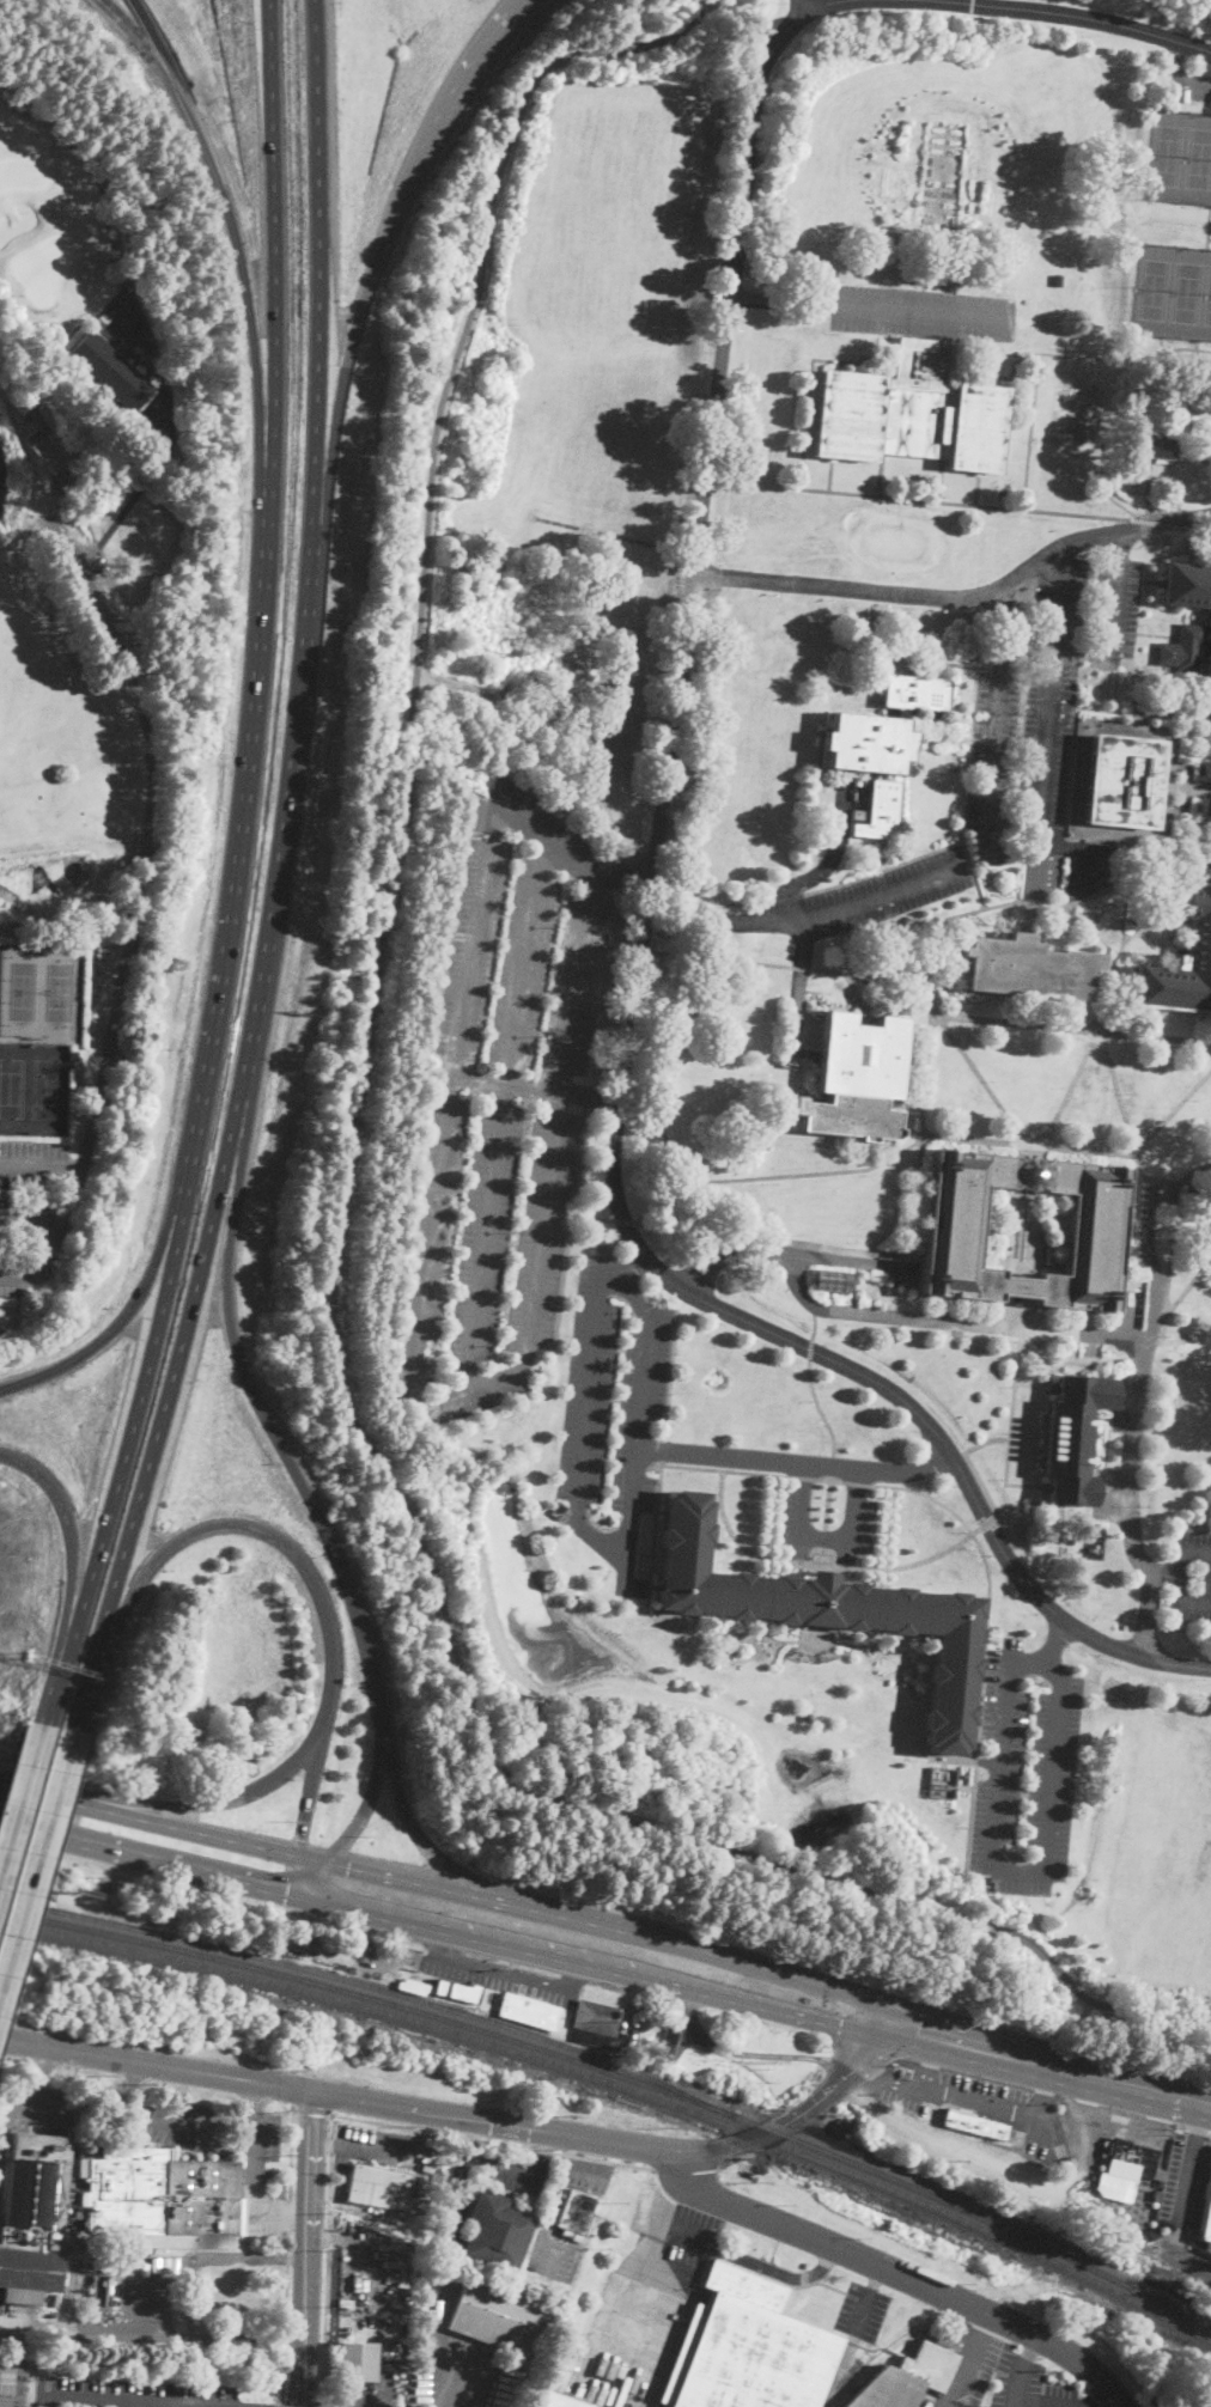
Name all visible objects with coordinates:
road: (808, 8)
road: (1075, 16)
building: (631, 22)
road: (1175, 75)
parking lot: (1191, 85)
park: (1164, 154)
park: (1197, 160)
park: (617, 213)
building: (948, 232)
building: (1058, 279)
road: (369, 282)
road: (247, 288)
park: (1150, 288)
park: (1187, 292)
park: (1206, 304)
road: (870, 307)
parking lot: (920, 311)
building: (111, 370)
building: (31, 404)
building: (1075, 410)
building: (909, 412)
building: (53, 444)
building: (1150, 445)
road: (159, 446)
building: (1206, 458)
road: (964, 502)
road: (1155, 522)
road: (700, 526)
road: (1197, 532)
building: (1188, 586)
road: (1116, 595)
parking lot: (1114, 611)
building: (1182, 647)
building: (1207, 678)
road: (649, 693)
road: (1047, 720)
parking lot: (1033, 743)
building: (881, 745)
road: (542, 757)
building: (1124, 781)
road: (990, 792)
parking lot: (838, 839)
road: (154, 843)
road: (824, 863)
road: (237, 871)
road: (485, 872)
road: (279, 876)
parking lot: (887, 892)
road: (808, 915)
building: (1199, 942)
road: (638, 949)
road: (900, 958)
road: (798, 965)
building: (1029, 968)
road: (797, 993)
road: (1016, 1022)
road: (930, 1034)
road: (1161, 1037)
road: (1097, 1038)
park: (364, 1054)
building: (73, 1055)
building: (860, 1056)
road: (1110, 1068)
road: (534, 1086)
parking lot: (505, 1110)
road: (498, 1113)
building: (847, 1116)
road: (1144, 1147)
road: (44, 1168)
building: (1029, 1172)
road: (777, 1175)
road: (343, 1215)
road: (592, 1217)
road: (36, 1219)
road: (625, 1221)
building: (951, 1230)
road: (1172, 1247)
road: (834, 1257)
road: (628, 1265)
road: (656, 1267)
building: (833, 1279)
road: (531, 1315)
road: (893, 1315)
road: (121, 1323)
road: (815, 1326)
road: (809, 1348)
road: (1037, 1353)
road: (1018, 1355)
road: (588, 1373)
parking lot: (615, 1407)
road: (819, 1408)
road: (1134, 1426)
building: (1071, 1437)
road: (795, 1462)
road: (970, 1462)
road: (819, 1479)
parking lot: (1108, 1492)
road: (1002, 1493)
road: (316, 1510)
parking lot: (795, 1523)
road: (827, 1538)
road: (1182, 1550)
road: (621, 1566)
road: (71, 1572)
road: (1164, 1574)
parking lot: (1189, 1578)
road: (317, 1589)
road: (1181, 1599)
building: (823, 1611)
building: (808, 1717)
parking lot: (1026, 1765)
building: (941, 1781)
road: (371, 1798)
road: (221, 1799)
road: (23, 1804)
road: (162, 1826)
traffic signals: (302, 1840)
road: (145, 1860)
road: (38, 1865)
traffic signals: (348, 1870)
road: (1028, 1871)
road: (306, 1878)
traffic signals: (287, 1893)
road: (610, 1928)
road: (586, 1963)
railway: (372, 1985)
building: (445, 1988)
building: (529, 2010)
building: (598, 2025)
traffic signals: (840, 2029)
traffic signals: (919, 2035)
building: (668, 2043)
traffic signals: (871, 2053)
road: (156, 2062)
road: (930, 2065)
road: (1047, 2065)
railway: (620, 2072)
railway: (621, 2084)
road: (31, 2094)
road: (974, 2096)
parking lot: (982, 2107)
road: (312, 2109)
road: (152, 2113)
building: (975, 2125)
parking lot: (1139, 2126)
road: (1192, 2128)
parking lot: (1083, 2133)
road: (474, 2137)
road: (493, 2140)
road: (620, 2143)
road: (542, 2152)
road: (390, 2153)
road: (1002, 2155)
road: (734, 2158)
road: (1191, 2163)
road: (464, 2164)
road: (588, 2167)
building: (1125, 2168)
road: (252, 2169)
road: (687, 2169)
parking lot: (1186, 2177)
building: (383, 2188)
road: (670, 2193)
road: (553, 2200)
building: (107, 2208)
building: (573, 2212)
building: (75, 2217)
building: (1206, 2224)
building: (497, 2231)
building: (1151, 2232)
building: (576, 2237)
road: (309, 2249)
road: (287, 2251)
road: (207, 2255)
road: (325, 2256)
road: (751, 2261)
building: (170, 2263)
road: (903, 2274)
road: (635, 2287)
road: (868, 2298)
parking lot: (862, 2310)
building: (499, 2315)
road: (96, 2335)
road: (249, 2335)
building: (747, 2348)
building: (389, 2350)
building: (403, 2350)
road: (968, 2360)
building: (357, 2362)
road: (1018, 2369)
park: (138, 2376)
building: (907, 2378)
park: (12, 2381)
building: (554, 2399)
road: (110, 2401)
road: (1066, 2402)
road: (282, 2403)
road: (321, 2403)
road: (166, 2406)

